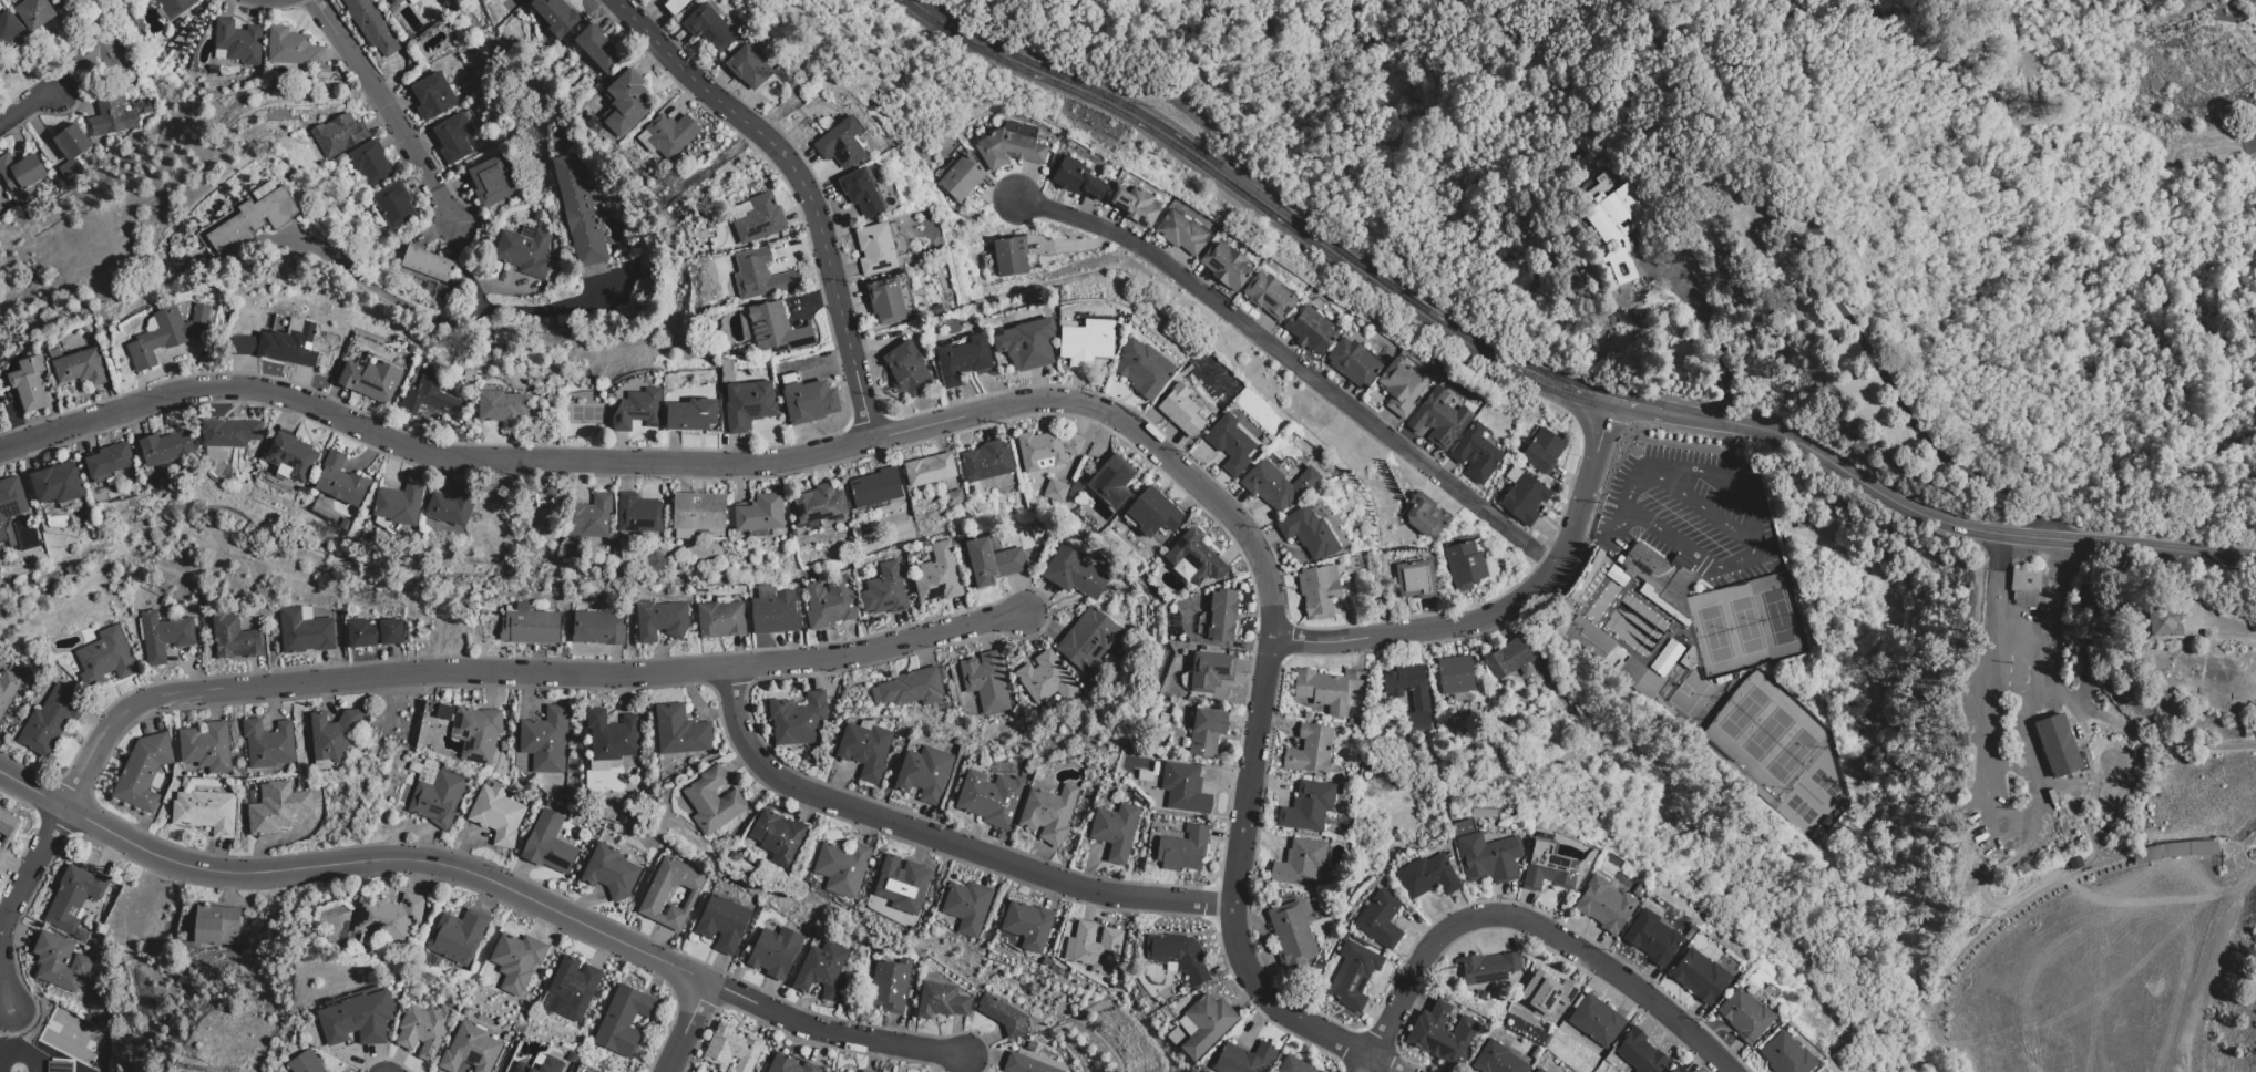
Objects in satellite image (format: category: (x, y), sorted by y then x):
building: (397, 2)
building: (676, 6)
building: (173, 7)
park: (995, 7)
building: (34, 13)
dam: (2246, 14)
building: (557, 16)
building: (550, 19)
building: (372, 24)
building: (709, 28)
building: (8, 29)
building: (238, 41)
building: (295, 49)
building: (102, 50)
building: (598, 50)
building: (219, 53)
building: (749, 66)
building: (433, 95)
building: (627, 102)
road: (27, 106)
road: (386, 107)
building: (110, 114)
road: (2088, 122)
building: (670, 134)
building: (339, 135)
building: (453, 137)
building: (842, 144)
building: (1009, 148)
building: (72, 151)
building: (83, 157)
building: (371, 162)
road: (1213, 168)
building: (21, 172)
building: (962, 177)
building: (1075, 177)
power tower: (678, 181)
building: (492, 182)
road: (801, 185)
building: (265, 190)
building: (863, 193)
building: (394, 204)
building: (1135, 205)
power tower: (707, 207)
building: (742, 209)
building: (580, 210)
building: (760, 219)
building: (252, 220)
building: (1614, 221)
building: (1181, 233)
building: (876, 248)
building: (525, 250)
building: (1007, 256)
building: (427, 262)
building: (1227, 266)
building: (551, 271)
building: (761, 276)
building: (434, 287)
building: (1269, 295)
building: (886, 300)
building: (937, 309)
road: (504, 310)
building: (778, 328)
road: (1711, 328)
building: (1311, 330)
building: (167, 334)
building: (1087, 342)
building: (245, 344)
building: (289, 344)
building: (1028, 344)
building: (411, 349)
building: (963, 360)
building: (1354, 362)
building: (78, 367)
road: (1299, 368)
building: (1144, 369)
building: (907, 370)
building: (481, 373)
building: (470, 377)
building: (370, 379)
road: (1555, 381)
building: (30, 383)
building: (1402, 386)
building: (431, 399)
building: (810, 401)
building: (748, 405)
building: (502, 406)
building: (638, 410)
building: (1181, 411)
building: (691, 414)
building: (1440, 421)
building: (229, 433)
building: (1230, 443)
building: (166, 447)
building: (1047, 450)
building: (1542, 451)
building: (1475, 453)
building: (291, 455)
building: (107, 461)
road: (769, 461)
building: (987, 461)
building: (930, 470)
building: (1514, 474)
building: (341, 481)
building: (1112, 482)
building: (57, 483)
road: (1640, 483)
building: (1278, 485)
building: (875, 487)
building: (1056, 491)
building: (1075, 491)
building: (11, 498)
building: (955, 498)
building: (1524, 498)
building: (820, 503)
building: (399, 504)
road: (1751, 504)
building: (452, 505)
road: (1706, 507)
road: (1908, 509)
building: (699, 512)
building: (1155, 513)
building: (639, 514)
building: (593, 515)
building: (760, 515)
building: (1424, 515)
road: (1621, 523)
building: (346, 524)
road: (1593, 527)
building: (1309, 534)
road: (1668, 539)
building: (1194, 556)
road: (2243, 556)
building: (991, 561)
building: (1465, 565)
building: (1073, 573)
building: (937, 574)
building: (1416, 579)
building: (1659, 579)
building: (2024, 587)
building: (884, 590)
building: (1319, 591)
building: (829, 601)
road: (1508, 607)
building: (772, 610)
building: (1221, 615)
building: (719, 618)
building: (659, 619)
building: (2163, 623)
building: (529, 627)
building: (596, 628)
building: (304, 631)
building: (372, 632)
road: (2019, 633)
building: (163, 636)
building: (233, 638)
building: (1087, 640)
building: (1609, 656)
building: (105, 657)
building: (1507, 658)
building: (1209, 671)
road: (516, 672)
building: (1454, 674)
building: (1045, 679)
building: (985, 681)
building: (910, 688)
building: (1327, 689)
building: (7, 690)
building: (1417, 698)
road: (2021, 708)
building: (798, 719)
building: (49, 720)
building: (679, 731)
building: (1206, 731)
road: (2135, 732)
building: (332, 733)
building: (479, 736)
building: (609, 739)
building: (544, 740)
building: (267, 743)
building: (2057, 745)
building: (205, 746)
building: (1309, 749)
building: (864, 750)
building: (142, 771)
building: (924, 773)
building: (1183, 787)
building: (435, 792)
building: (406, 794)
building: (991, 797)
building: (711, 801)
building: (1306, 806)
building: (276, 808)
building: (204, 812)
building: (1047, 813)
building: (495, 814)
building: (7, 824)
building: (1114, 831)
building: (778, 836)
road: (943, 838)
building: (547, 844)
building: (1, 849)
building: (1182, 849)
building: (2174, 851)
building: (1488, 857)
building: (1299, 863)
building: (841, 867)
building: (1547, 867)
building: (608, 872)
building: (1426, 877)
road: (485, 879)
building: (901, 883)
building: (670, 894)
building: (73, 899)
road: (13, 903)
building: (1603, 905)
building: (966, 906)
building: (387, 917)
building: (1378, 919)
building: (213, 922)
building: (721, 922)
building: (1027, 925)
building: (457, 936)
building: (1291, 936)
building: (1652, 937)
building: (1096, 947)
building: (773, 951)
building: (1177, 956)
building: (515, 960)
building: (59, 961)
road: (1244, 966)
building: (1487, 967)
building: (821, 971)
road: (1612, 971)
building: (1352, 976)
building: (1699, 976)
building: (889, 985)
road: (1409, 986)
building: (570, 989)
building: (1546, 992)
building: (940, 1001)
building: (1002, 1016)
building: (1743, 1016)
building: (357, 1019)
building: (622, 1021)
building: (1596, 1021)
building: (1206, 1023)
road: (685, 1027)
building: (423, 1029)
building: (1440, 1034)
building: (469, 1049)
building: (730, 1049)
power tower: (206, 1052)
building: (1640, 1053)
building: (1785, 1055)
building: (1242, 1058)
building: (1496, 1060)
building: (305, 1062)
building: (540, 1064)
building: (788, 1064)
building: (1025, 1064)
building: (1293, 1065)
building: (58, 1066)
building: (1538, 1070)
building: (1678, 1070)
building: (833, 1071)
building: (864, 1071)

